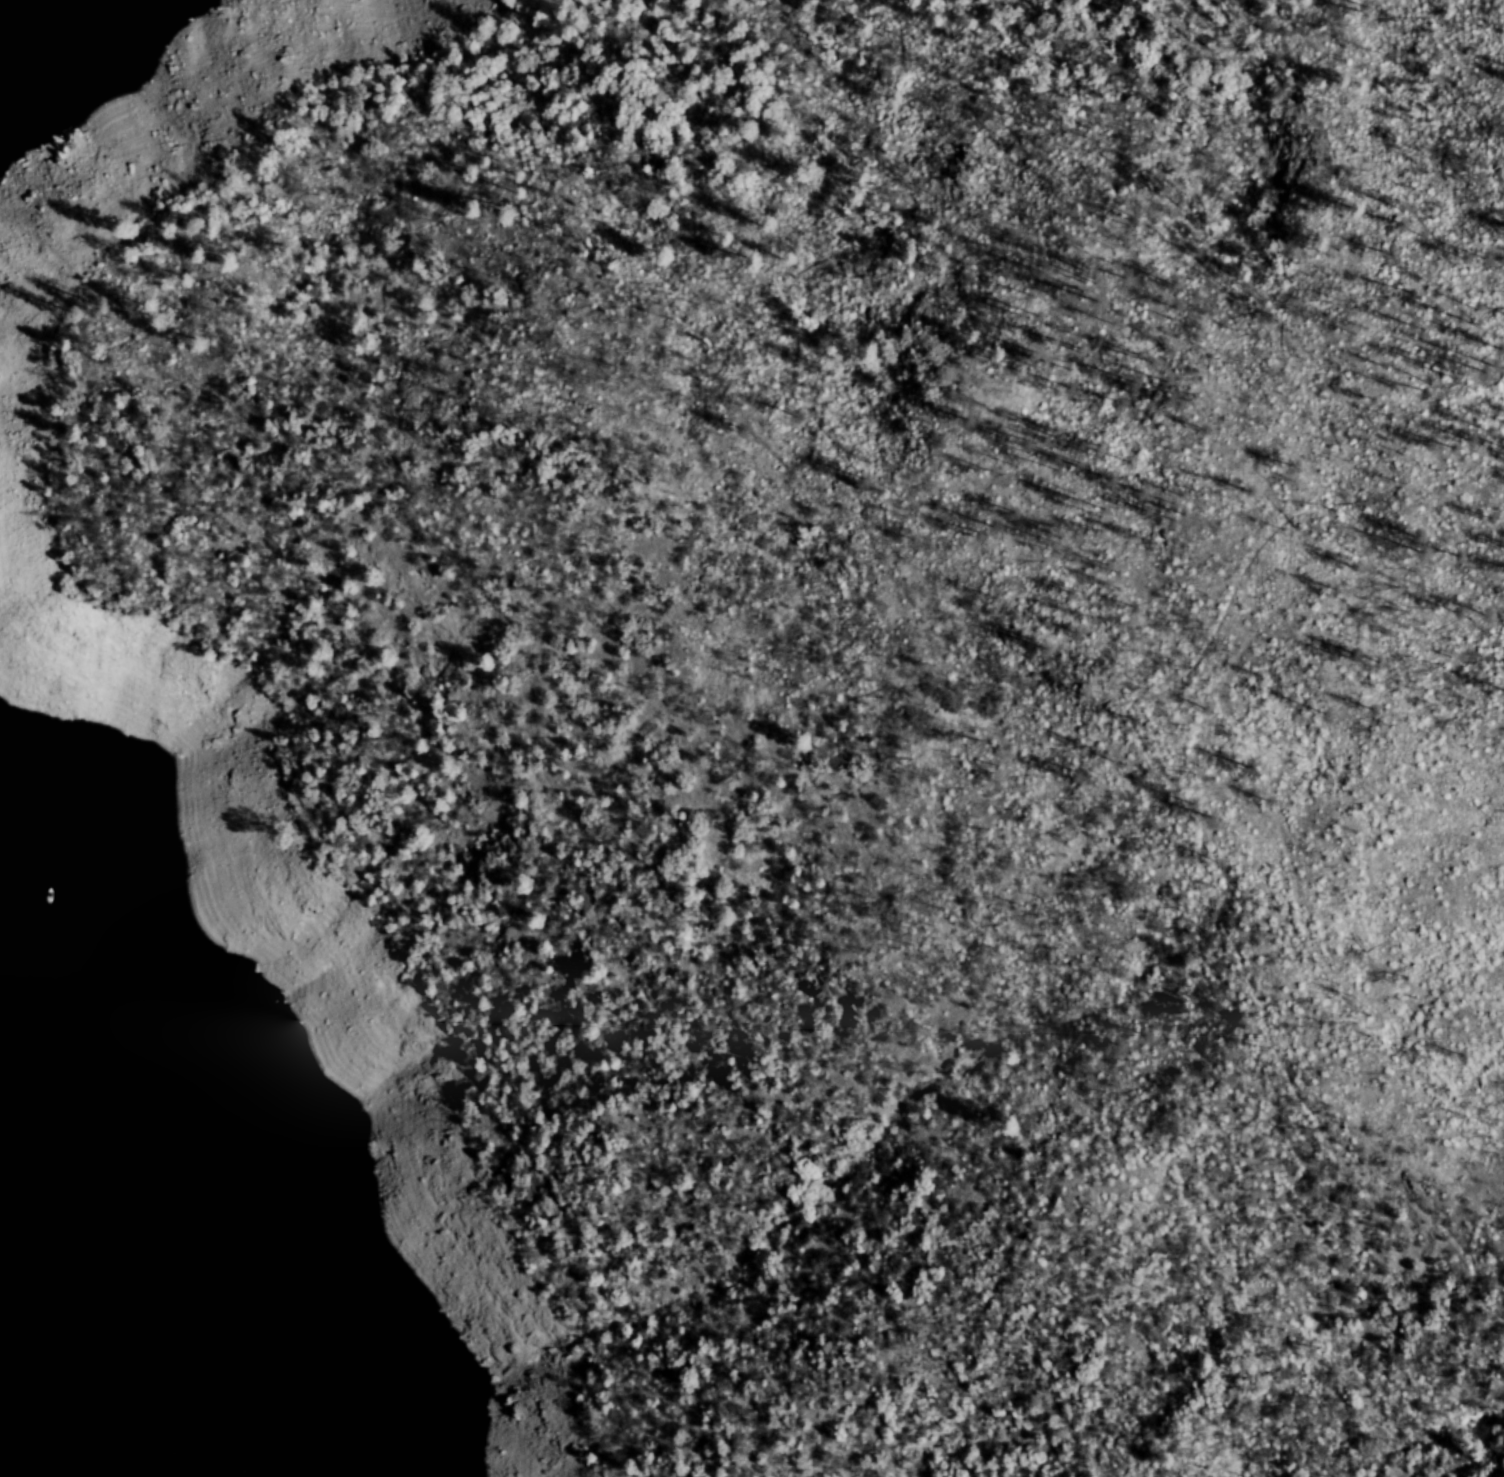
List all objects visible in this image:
river: (17, 1403)

